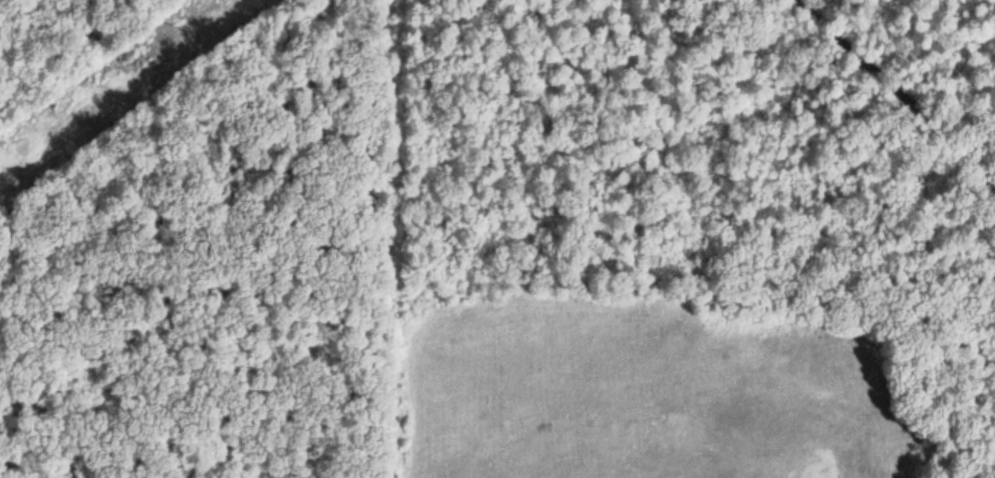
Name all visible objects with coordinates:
road: (890, 96)

